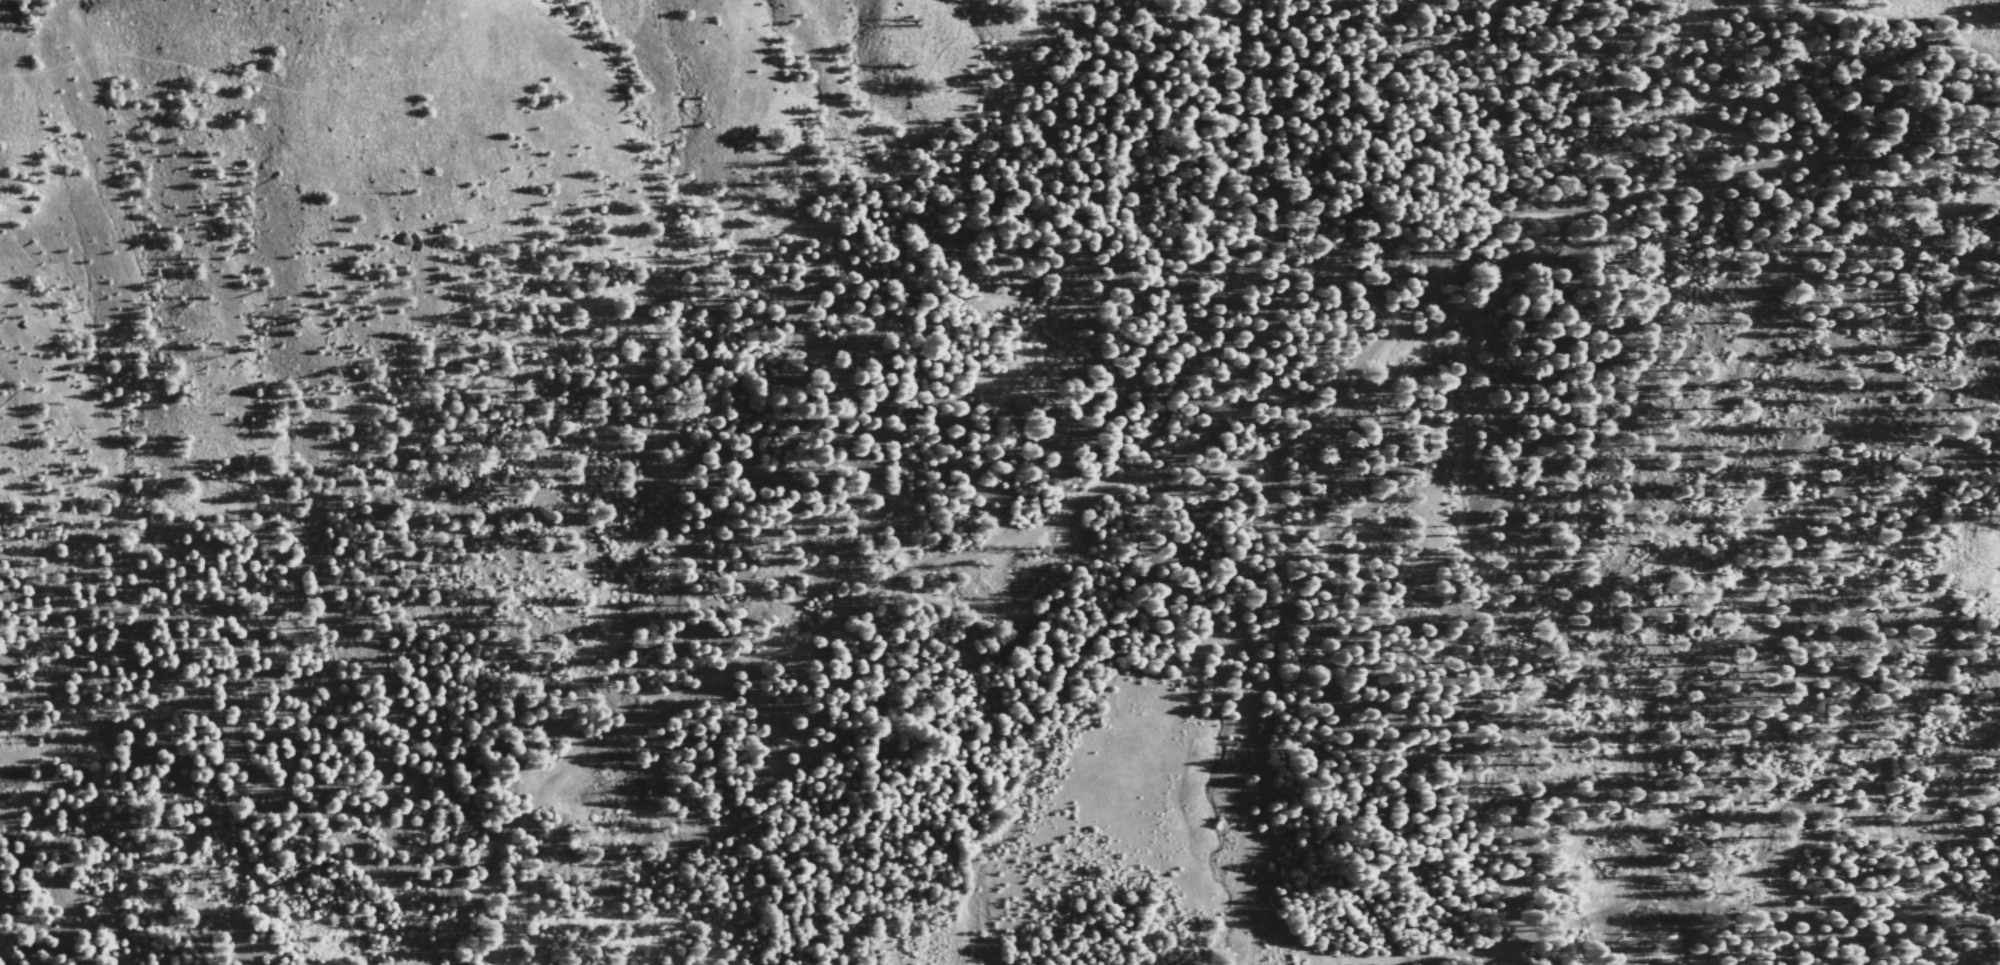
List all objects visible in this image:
road: (278, 85)
road: (1266, 189)
road: (1176, 468)

